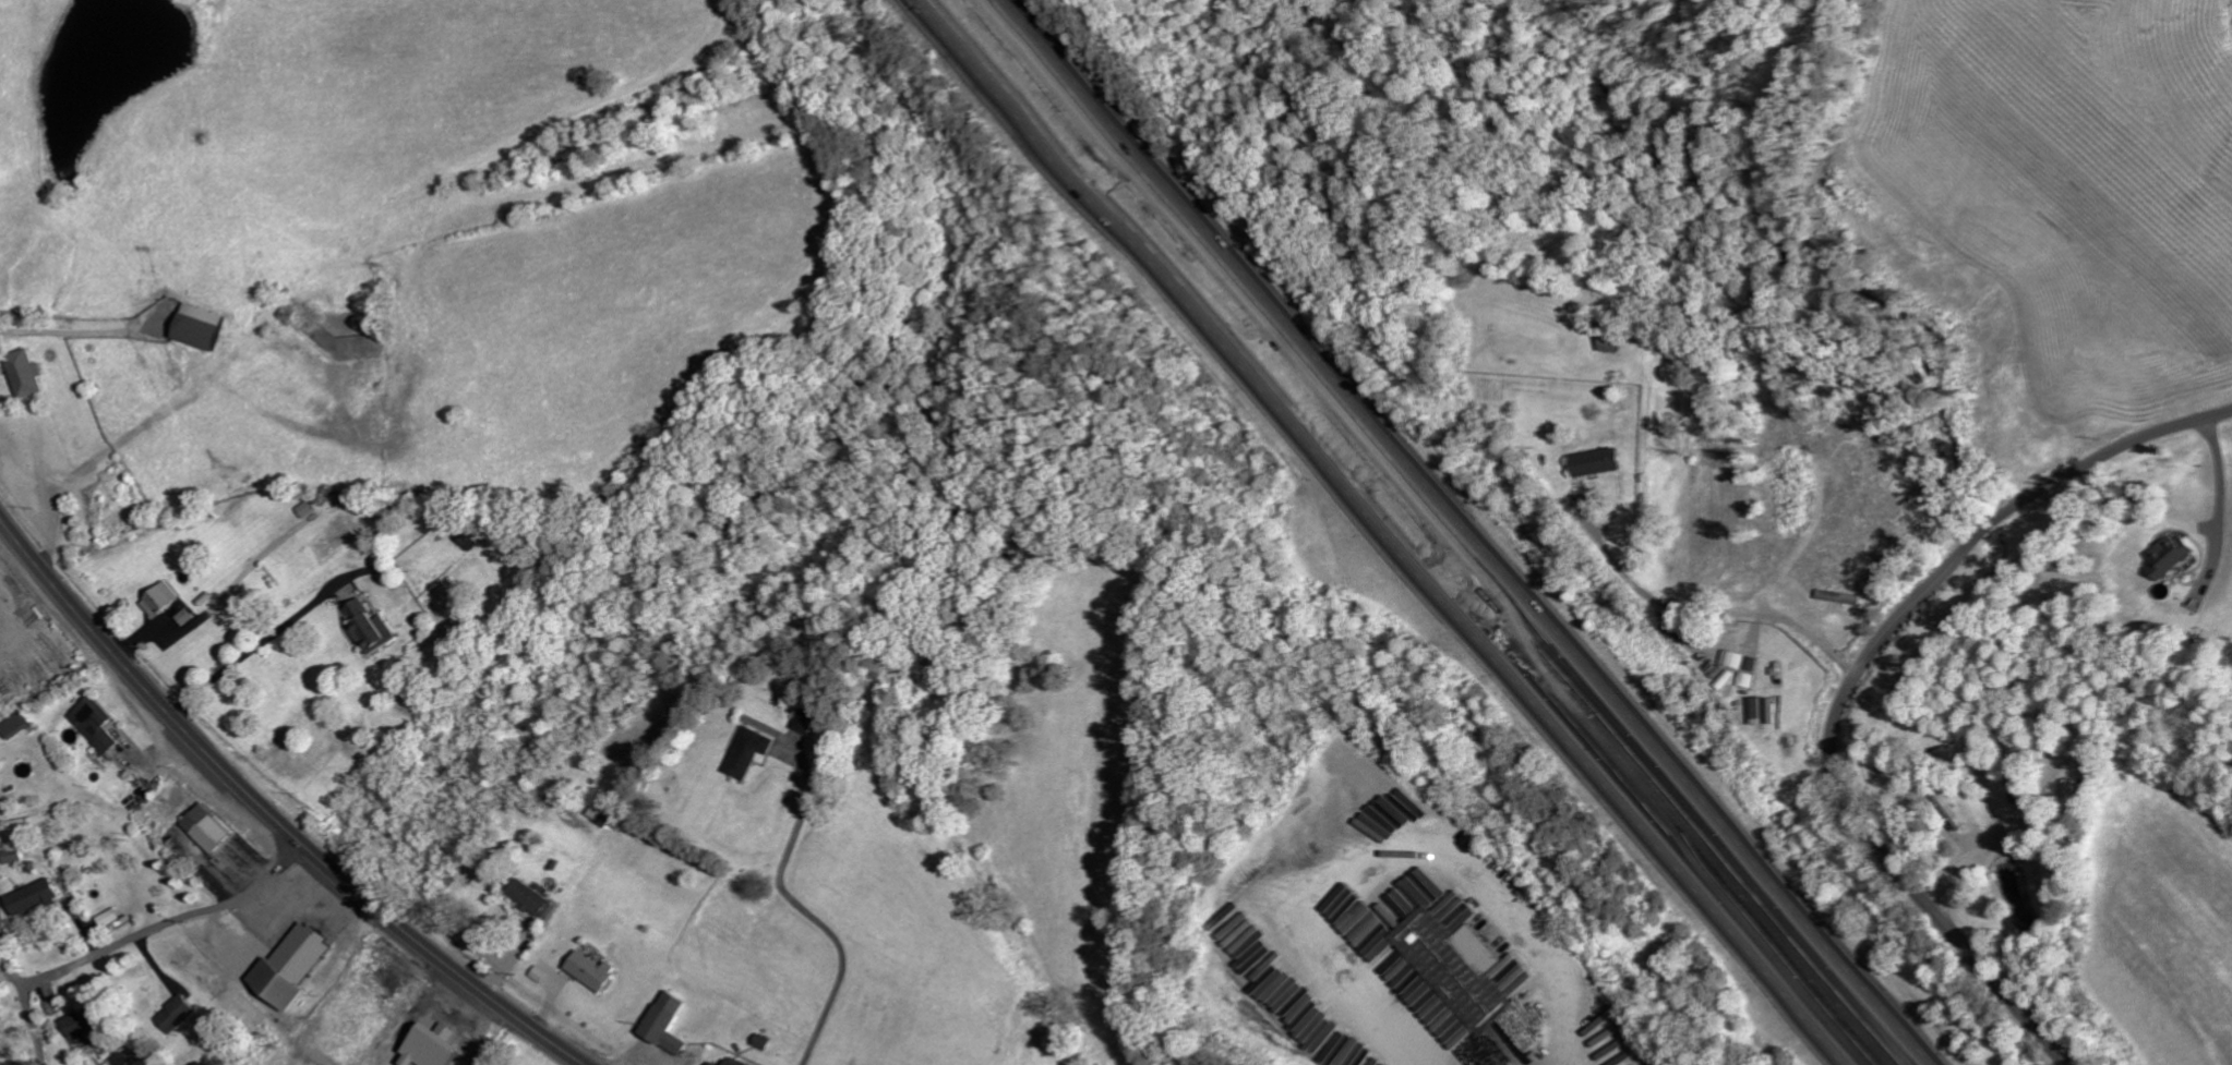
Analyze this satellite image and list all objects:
building: (196, 328)
building: (24, 373)
building: (1593, 461)
road: (2044, 489)
building: (304, 510)
road: (1395, 532)
road: (1460, 532)
building: (2167, 556)
building: (157, 597)
building: (1839, 597)
building: (184, 616)
building: (367, 626)
building: (1732, 659)
building: (1750, 664)
building: (1725, 679)
building: (1747, 679)
road: (1851, 691)
building: (1755, 710)
building: (803, 721)
building: (93, 724)
building: (16, 726)
building: (745, 752)
road: (272, 812)
building: (204, 828)
building: (9, 855)
road: (248, 896)
building: (28, 898)
building: (533, 899)
building: (1453, 911)
building: (105, 918)
road: (1942, 920)
building: (286, 968)
road: (63, 969)
building: (590, 970)
building: (1453, 977)
building: (171, 1015)
building: (663, 1024)
building: (71, 1025)
building: (428, 1049)
building: (731, 1062)
building: (711, 1063)

